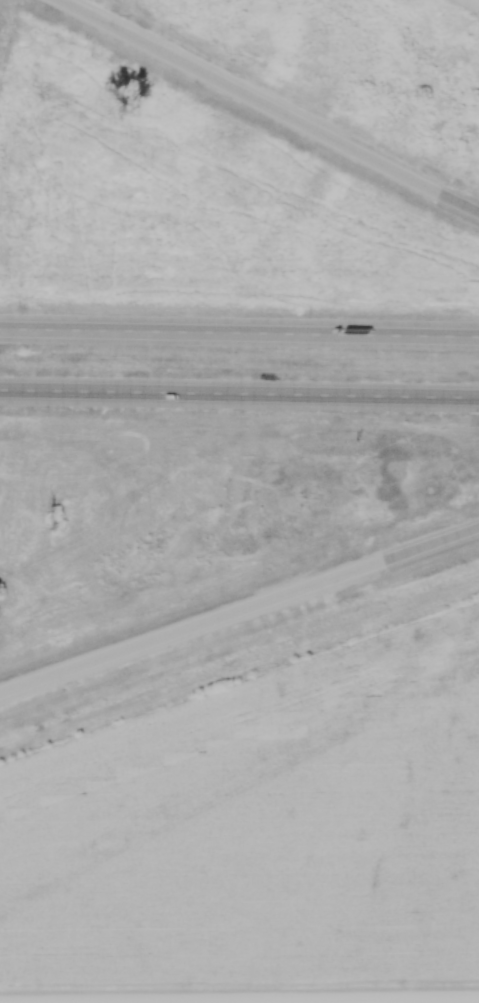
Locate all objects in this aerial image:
road: (269, 105)
road: (239, 332)
road: (239, 393)
road: (239, 611)
road: (239, 1001)
road: (172, 1002)

